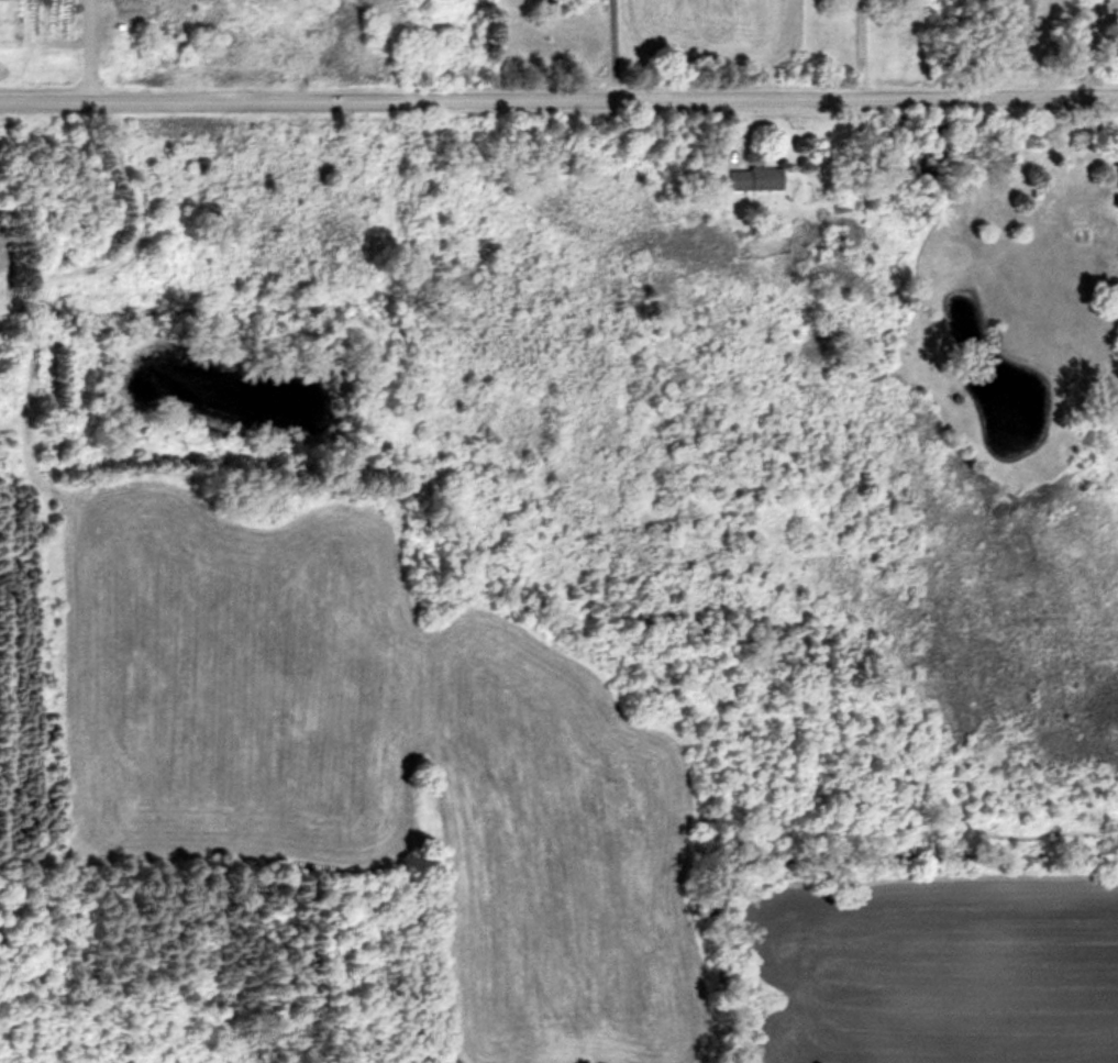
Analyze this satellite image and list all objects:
road: (1073, 46)
road: (84, 49)
road: (558, 97)

